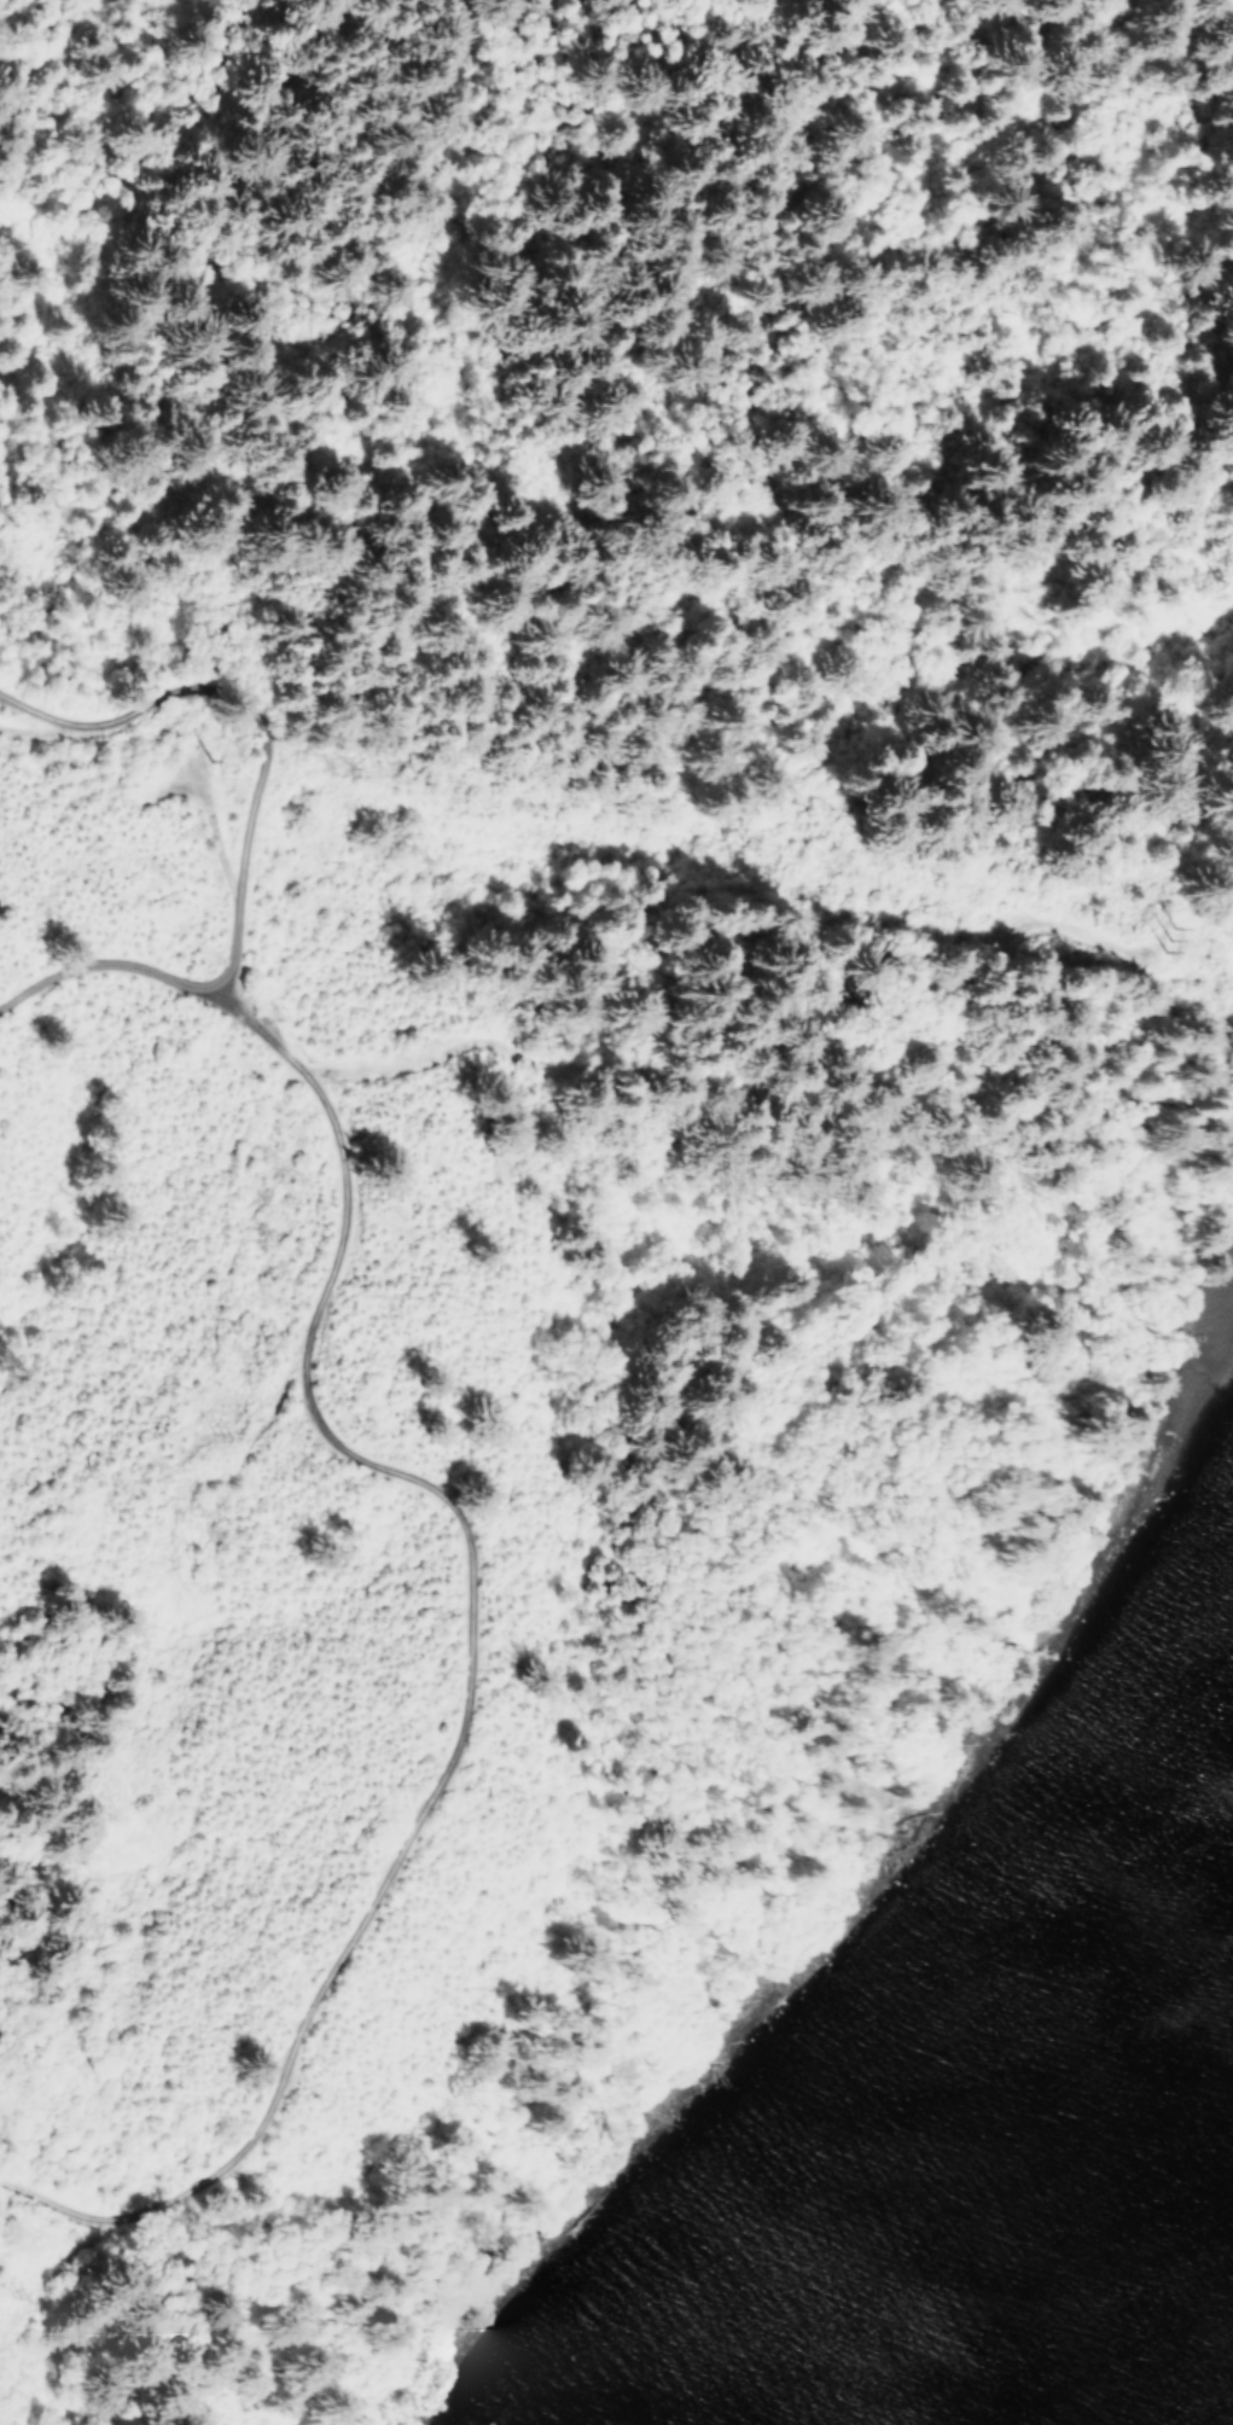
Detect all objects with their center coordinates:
road: (249, 723)
power tower: (223, 760)
power tower: (1155, 941)
road: (464, 1549)

